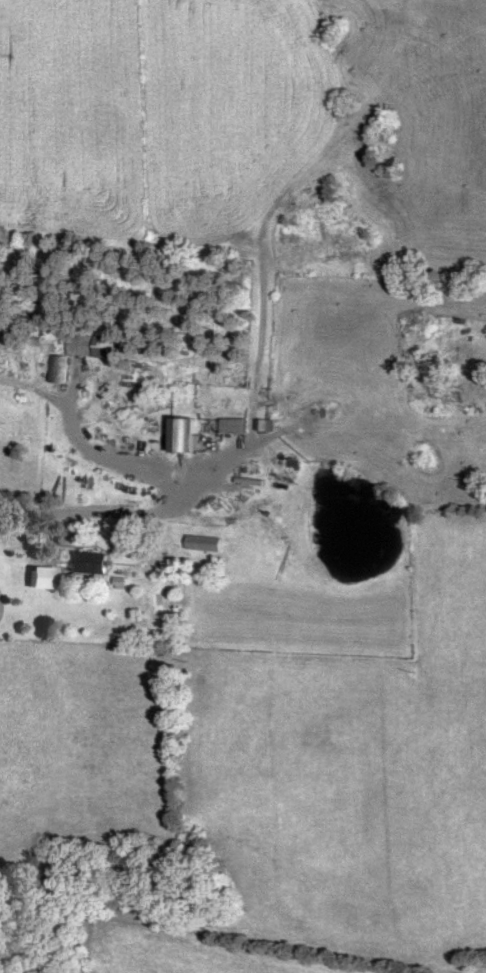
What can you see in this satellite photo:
building: (94, 343)
building: (60, 367)
building: (235, 423)
building: (186, 434)
road: (12, 527)
building: (204, 541)
building: (93, 560)

